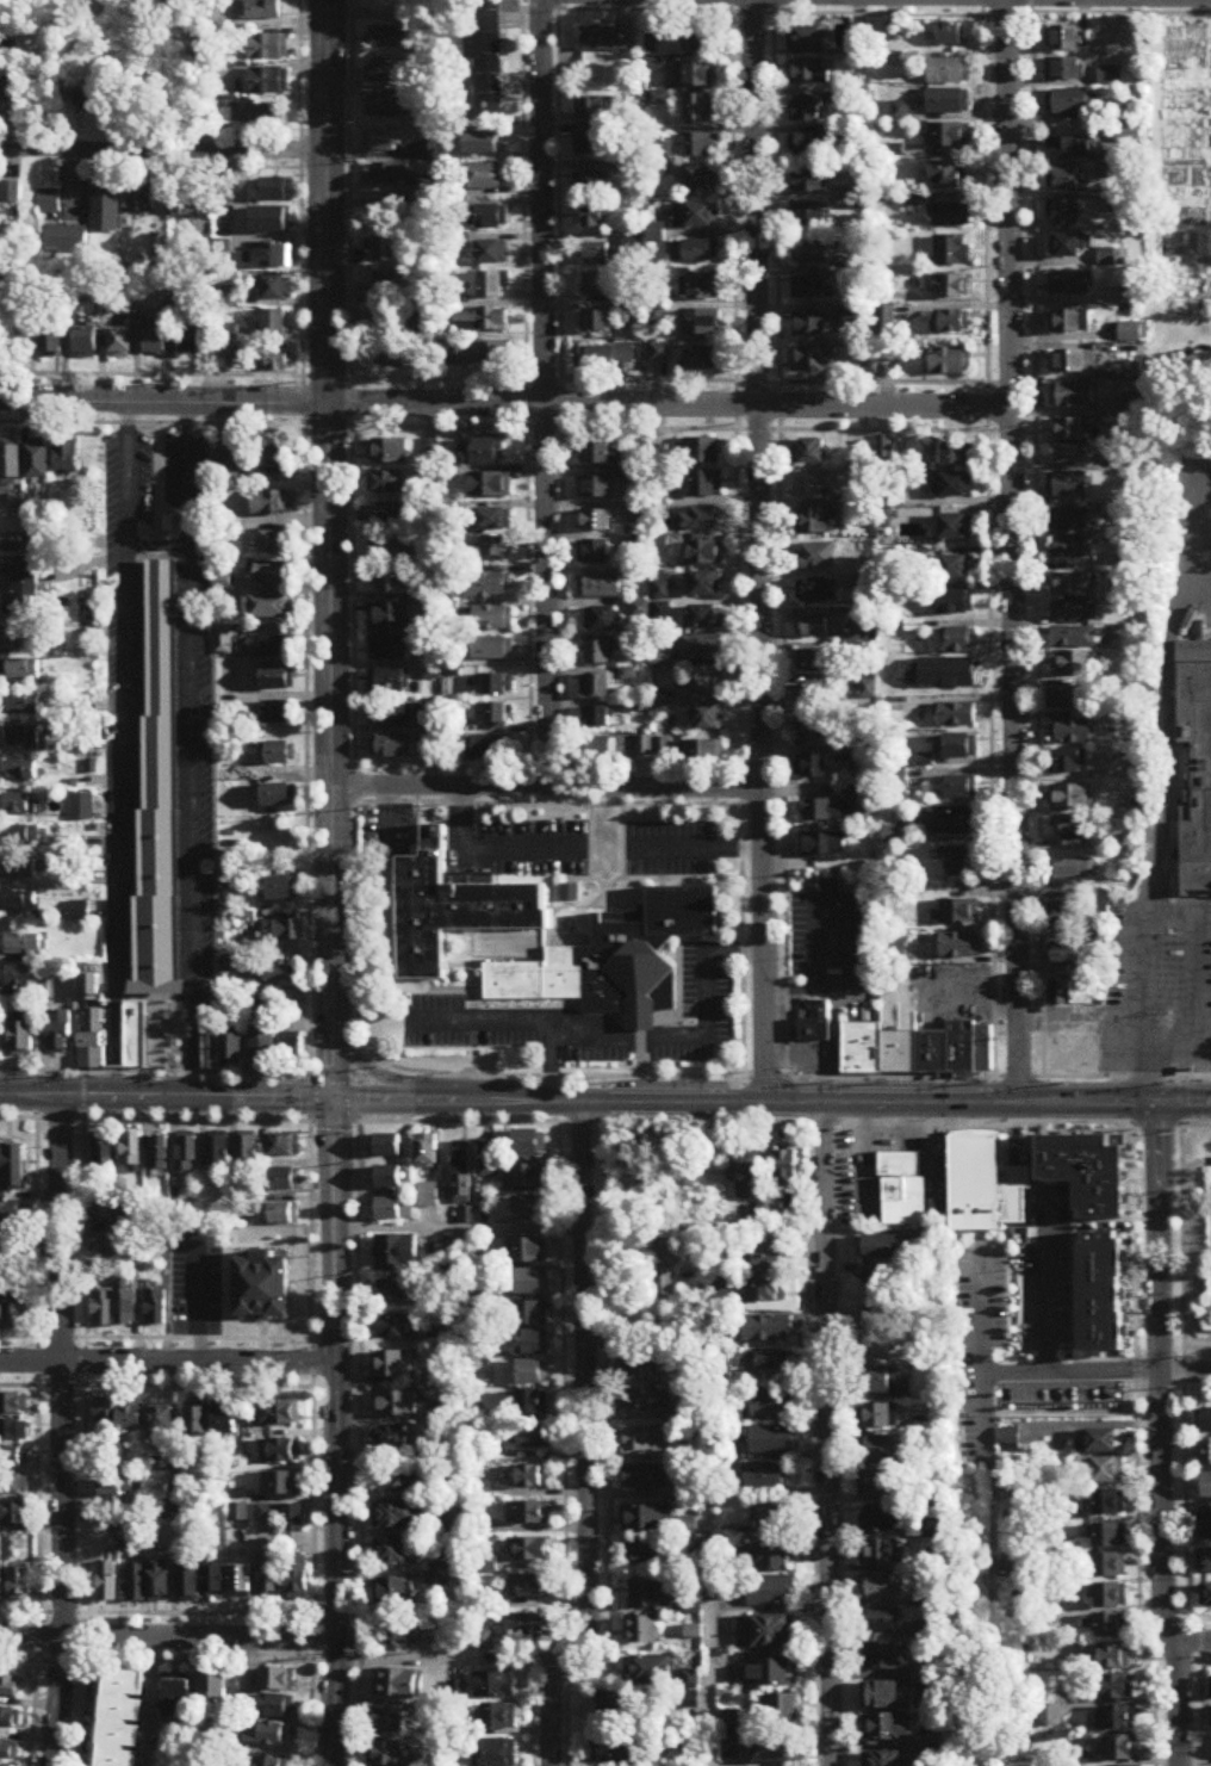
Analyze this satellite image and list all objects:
building: (261, 11)
road: (867, 14)
building: (949, 35)
building: (390, 38)
building: (1063, 39)
building: (604, 41)
building: (698, 41)
building: (811, 42)
building: (269, 48)
building: (486, 57)
building: (384, 70)
building: (1063, 70)
building: (809, 73)
building: (949, 73)
building: (697, 75)
building: (263, 82)
building: (13, 87)
building: (99, 98)
building: (948, 103)
building: (1067, 104)
building: (384, 106)
building: (702, 109)
building: (592, 110)
building: (807, 110)
building: (272, 117)
building: (948, 136)
building: (381, 142)
building: (483, 143)
building: (592, 144)
building: (696, 147)
building: (808, 147)
building: (1073, 150)
road: (163, 153)
building: (392, 175)
building: (946, 175)
building: (486, 176)
building: (701, 179)
building: (807, 180)
building: (1067, 180)
building: (594, 184)
building: (278, 192)
building: (12, 193)
building: (139, 198)
building: (48, 204)
building: (186, 205)
building: (106, 212)
building: (1063, 215)
building: (807, 216)
building: (492, 217)
building: (594, 217)
building: (695, 217)
building: (951, 217)
building: (269, 222)
building: (420, 222)
building: (222, 230)
building: (656, 235)
road: (241, 237)
building: (66, 241)
building: (1068, 248)
building: (384, 250)
building: (952, 252)
building: (696, 253)
building: (811, 253)
building: (492, 254)
building: (597, 256)
building: (275, 259)
building: (1106, 260)
building: (595, 285)
building: (1070, 285)
building: (491, 286)
building: (949, 287)
building: (386, 289)
building: (703, 289)
building: (808, 289)
building: (277, 290)
building: (1130, 297)
building: (484, 320)
building: (275, 323)
building: (598, 323)
building: (700, 323)
building: (949, 323)
building: (1066, 323)
building: (809, 327)
building: (1132, 334)
building: (156, 341)
road: (31, 342)
building: (191, 342)
building: (51, 343)
building: (87, 343)
building: (120, 345)
building: (223, 351)
building: (659, 353)
building: (483, 354)
building: (399, 355)
building: (609, 358)
building: (277, 360)
building: (703, 360)
building: (812, 360)
building: (950, 363)
building: (1072, 364)
road: (667, 382)
road: (544, 394)
building: (1073, 397)
road: (505, 405)
road: (526, 407)
road: (560, 409)
road: (327, 426)
road: (694, 429)
building: (1069, 432)
building: (387, 452)
building: (482, 452)
building: (701, 452)
building: (808, 453)
building: (603, 454)
building: (1072, 456)
building: (956, 457)
building: (67, 458)
building: (279, 460)
building: (11, 463)
building: (39, 463)
building: (231, 466)
building: (385, 484)
building: (704, 485)
building: (490, 487)
building: (812, 487)
building: (950, 487)
building: (1068, 487)
building: (156, 488)
building: (596, 488)
building: (272, 504)
building: (391, 516)
building: (698, 519)
building: (492, 521)
building: (594, 521)
building: (813, 521)
building: (1068, 521)
road: (1188, 526)
building: (955, 528)
road: (352, 532)
road: (987, 538)
road: (781, 539)
road: (1036, 539)
building: (20, 543)
building: (277, 544)
road: (156, 545)
road: (331, 549)
building: (398, 550)
road: (759, 550)
road: (1013, 550)
building: (495, 551)
building: (594, 552)
building: (1069, 552)
building: (706, 553)
building: (815, 558)
road: (304, 562)
road: (737, 562)
building: (957, 569)
building: (273, 575)
building: (222, 582)
building: (391, 583)
building: (706, 584)
building: (600, 585)
building: (1070, 585)
building: (490, 587)
road: (1198, 588)
building: (32, 589)
building: (816, 591)
building: (954, 603)
building: (269, 608)
building: (1073, 612)
building: (390, 618)
building: (704, 618)
building: (492, 620)
building: (602, 620)
building: (820, 626)
building: (18, 638)
building: (1073, 638)
building: (222, 640)
building: (961, 640)
building: (277, 647)
building: (701, 647)
building: (492, 649)
building: (389, 650)
building: (816, 662)
building: (1070, 664)
building: (23, 670)
building: (610, 670)
building: (956, 673)
building: (275, 680)
building: (389, 682)
building: (707, 686)
building: (497, 687)
building: (815, 696)
building: (1062, 699)
building: (23, 705)
building: (278, 713)
building: (390, 715)
building: (491, 715)
building: (956, 715)
building: (709, 718)
building: (597, 719)
building: (818, 727)
building: (1072, 732)
building: (21, 737)
building: (431, 744)
building: (390, 746)
building: (653, 746)
building: (957, 748)
road: (122, 749)
road: (192, 749)
building: (489, 750)
building: (598, 750)
road: (1165, 751)
park: (161, 752)
building: (702, 752)
building: (280, 755)
building: (1069, 763)
building: (812, 767)
building: (1196, 769)
building: (21, 773)
building: (896, 779)
building: (957, 788)
road: (548, 791)
building: (160, 797)
building: (279, 797)
building: (1069, 799)
road: (547, 805)
building: (17, 806)
building: (824, 811)
building: (954, 823)
building: (1074, 834)
building: (30, 835)
building: (824, 845)
road: (698, 848)
building: (273, 850)
building: (603, 850)
road: (486, 851)
building: (957, 862)
building: (19, 870)
building: (1073, 872)
building: (279, 891)
building: (569, 894)
building: (23, 906)
building: (455, 911)
building: (79, 912)
building: (957, 913)
building: (1062, 916)
building: (278, 932)
building: (26, 946)
building: (957, 947)
building: (1066, 955)
building: (616, 962)
building: (278, 975)
building: (19, 979)
road: (1135, 983)
road: (1198, 983)
parking lot: (1159, 986)
building: (87, 990)
building: (1060, 994)
road: (969, 1004)
road: (487, 1021)
road: (1075, 1021)
building: (815, 1024)
building: (898, 1029)
building: (148, 1030)
building: (61, 1034)
building: (23, 1040)
road: (667, 1040)
building: (93, 1041)
building: (263, 1049)
building: (292, 1049)
building: (862, 1049)
building: (961, 1049)
building: (231, 1051)
building: (982, 1051)
building: (211, 1053)
building: (932, 1054)
road: (371, 1068)
road: (1157, 1074)
road: (336, 1077)
road: (791, 1078)
road: (166, 1097)
traffic signals: (334, 1098)
road: (358, 1099)
road: (458, 1101)
road: (896, 1102)
traffic signals: (1157, 1102)
road: (1179, 1102)
road: (759, 1126)
building: (528, 1146)
building: (285, 1147)
building: (389, 1147)
building: (131, 1151)
building: (101, 1152)
building: (218, 1152)
building: (247, 1152)
building: (427, 1152)
building: (157, 1155)
building: (186, 1155)
building: (487, 1160)
building: (12, 1170)
building: (1085, 1170)
building: (787, 1171)
building: (462, 1173)
building: (745, 1177)
building: (527, 1178)
building: (389, 1179)
building: (285, 1181)
building: (902, 1188)
building: (987, 1188)
building: (428, 1196)
building: (395, 1210)
building: (530, 1210)
building: (10, 1213)
building: (284, 1215)
building: (466, 1216)
road: (30, 1225)
road: (459, 1228)
road: (223, 1241)
building: (105, 1247)
building: (884, 1248)
building: (529, 1252)
building: (397, 1254)
building: (763, 1256)
road: (962, 1263)
building: (667, 1271)
building: (528, 1283)
building: (884, 1283)
building: (263, 1288)
building: (395, 1291)
building: (768, 1293)
building: (1094, 1293)
building: (2, 1309)
building: (18, 1309)
building: (126, 1309)
building: (156, 1309)
building: (104, 1310)
building: (532, 1315)
parking lot: (996, 1322)
building: (397, 1328)
building: (687, 1330)
building: (766, 1332)
road: (294, 1337)
building: (877, 1337)
building: (533, 1344)
building: (766, 1363)
road: (168, 1365)
building: (391, 1365)
building: (641, 1370)
road: (1180, 1371)
road: (1184, 1372)
building: (532, 1374)
road: (1092, 1374)
building: (881, 1382)
building: (646, 1401)
building: (1106, 1403)
building: (532, 1405)
building: (395, 1406)
building: (771, 1406)
building: (14, 1407)
building: (275, 1415)
building: (876, 1419)
building: (118, 1421)
building: (1205, 1421)
building: (225, 1423)
road: (1132, 1423)
building: (162, 1425)
building: (198, 1425)
road: (62, 1431)
road: (337, 1432)
building: (14, 1433)
road: (826, 1433)
road: (1157, 1435)
building: (524, 1438)
road: (586, 1439)
road: (708, 1439)
building: (395, 1440)
building: (645, 1442)
building: (1099, 1442)
building: (771, 1443)
building: (1008, 1443)
building: (881, 1452)
building: (280, 1454)
building: (1205, 1455)
building: (13, 1460)
building: (1104, 1470)
building: (529, 1479)
building: (645, 1479)
building: (769, 1480)
building: (400, 1485)
building: (282, 1486)
building: (882, 1487)
building: (1206, 1487)
building: (13, 1488)
building: (116, 1491)
building: (482, 1492)
building: (1108, 1504)
building: (240, 1514)
building: (268, 1514)
building: (528, 1514)
building: (14, 1516)
building: (398, 1518)
building: (294, 1520)
building: (647, 1520)
building: (883, 1520)
building: (775, 1522)
building: (1204, 1528)
building: (1110, 1535)
building: (133, 1542)
building: (529, 1553)
building: (880, 1553)
building: (392, 1554)
building: (646, 1554)
building: (764, 1559)
building: (1204, 1562)
building: (486, 1566)
building: (1110, 1566)
building: (1021, 1568)
building: (299, 1579)
building: (215, 1580)
building: (269, 1580)
building: (241, 1582)
building: (1, 1584)
building: (160, 1584)
building: (190, 1584)
building: (107, 1585)
building: (137, 1585)
building: (21, 1586)
building: (882, 1587)
building: (528, 1588)
building: (759, 1592)
building: (395, 1595)
building: (651, 1595)
building: (1108, 1595)
building: (1207, 1597)
road: (1173, 1618)
building: (883, 1619)
building: (528, 1625)
building: (1110, 1626)
building: (644, 1630)
building: (760, 1631)
building: (402, 1638)
road: (170, 1641)
road: (1190, 1642)
building: (889, 1655)
building: (1113, 1656)
road: (457, 1661)
road: (1205, 1661)
building: (648, 1669)
building: (770, 1674)
building: (277, 1679)
building: (399, 1684)
building: (495, 1685)
building: (10, 1686)
building: (1117, 1687)
road: (1199, 1691)
building: (886, 1696)
building: (219, 1697)
building: (178, 1700)
building: (275, 1706)
building: (785, 1708)
building: (8, 1716)
building: (1210, 1716)
building: (118, 1717)
building: (498, 1717)
building: (1116, 1717)
building: (391, 1722)
building: (603, 1725)
building: (887, 1727)
building: (732, 1729)
building: (267, 1733)
building: (774, 1748)
building: (1119, 1748)
building: (8, 1750)
building: (495, 1753)
building: (389, 1754)
building: (888, 1759)
building: (271, 1762)

